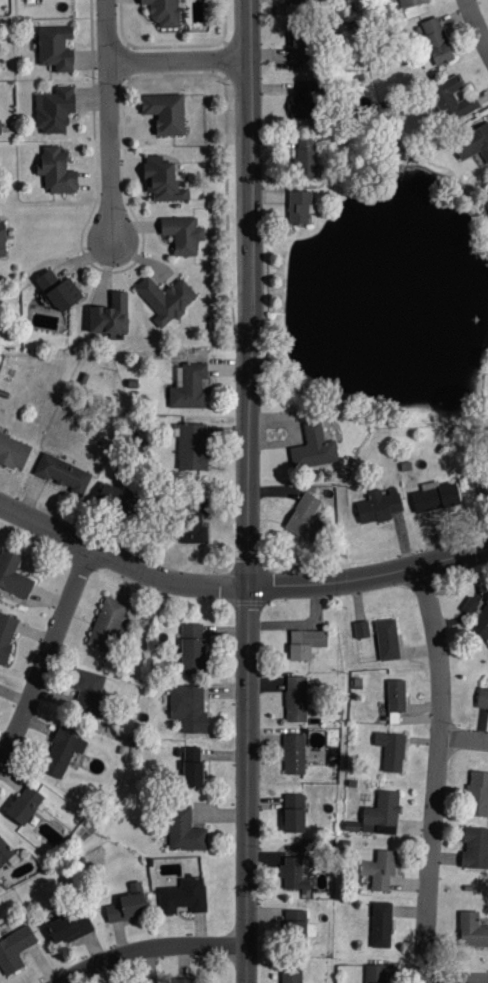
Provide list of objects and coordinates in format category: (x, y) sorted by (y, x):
building: (303, 2)
building: (411, 3)
building: (163, 12)
road: (476, 26)
road: (104, 30)
building: (435, 41)
building: (301, 45)
building: (55, 48)
road: (175, 58)
building: (450, 94)
building: (304, 100)
building: (54, 110)
building: (165, 113)
building: (0, 127)
road: (246, 143)
building: (474, 143)
road: (107, 149)
building: (304, 160)
building: (57, 171)
building: (162, 180)
building: (485, 200)
building: (299, 207)
building: (182, 234)
building: (2, 239)
building: (58, 291)
building: (166, 300)
building: (110, 316)
road: (247, 316)
building: (189, 387)
building: (192, 447)
building: (314, 449)
building: (13, 452)
road: (241, 461)
building: (62, 474)
building: (112, 494)
building: (435, 497)
building: (379, 506)
building: (305, 517)
road: (78, 527)
building: (192, 528)
road: (77, 540)
road: (423, 552)
road: (423, 561)
road: (256, 570)
building: (13, 575)
road: (176, 578)
road: (222, 579)
road: (303, 582)
building: (481, 623)
building: (106, 625)
building: (361, 630)
building: (6, 635)
building: (387, 640)
building: (305, 644)
building: (192, 649)
road: (45, 650)
building: (87, 692)
building: (296, 699)
building: (396, 700)
building: (482, 700)
building: (188, 708)
road: (463, 737)
building: (391, 751)
building: (62, 753)
building: (294, 754)
building: (192, 767)
road: (435, 772)
road: (244, 779)
building: (478, 796)
building: (24, 806)
building: (383, 813)
building: (294, 814)
building: (185, 831)
building: (475, 848)
building: (7, 854)
building: (380, 870)
building: (296, 874)
building: (184, 896)
building: (126, 906)
building: (295, 922)
building: (381, 924)
building: (68, 926)
building: (472, 929)
building: (14, 949)
road: (149, 949)
building: (375, 973)
building: (291, 974)
road: (454, 979)
building: (183, 980)

